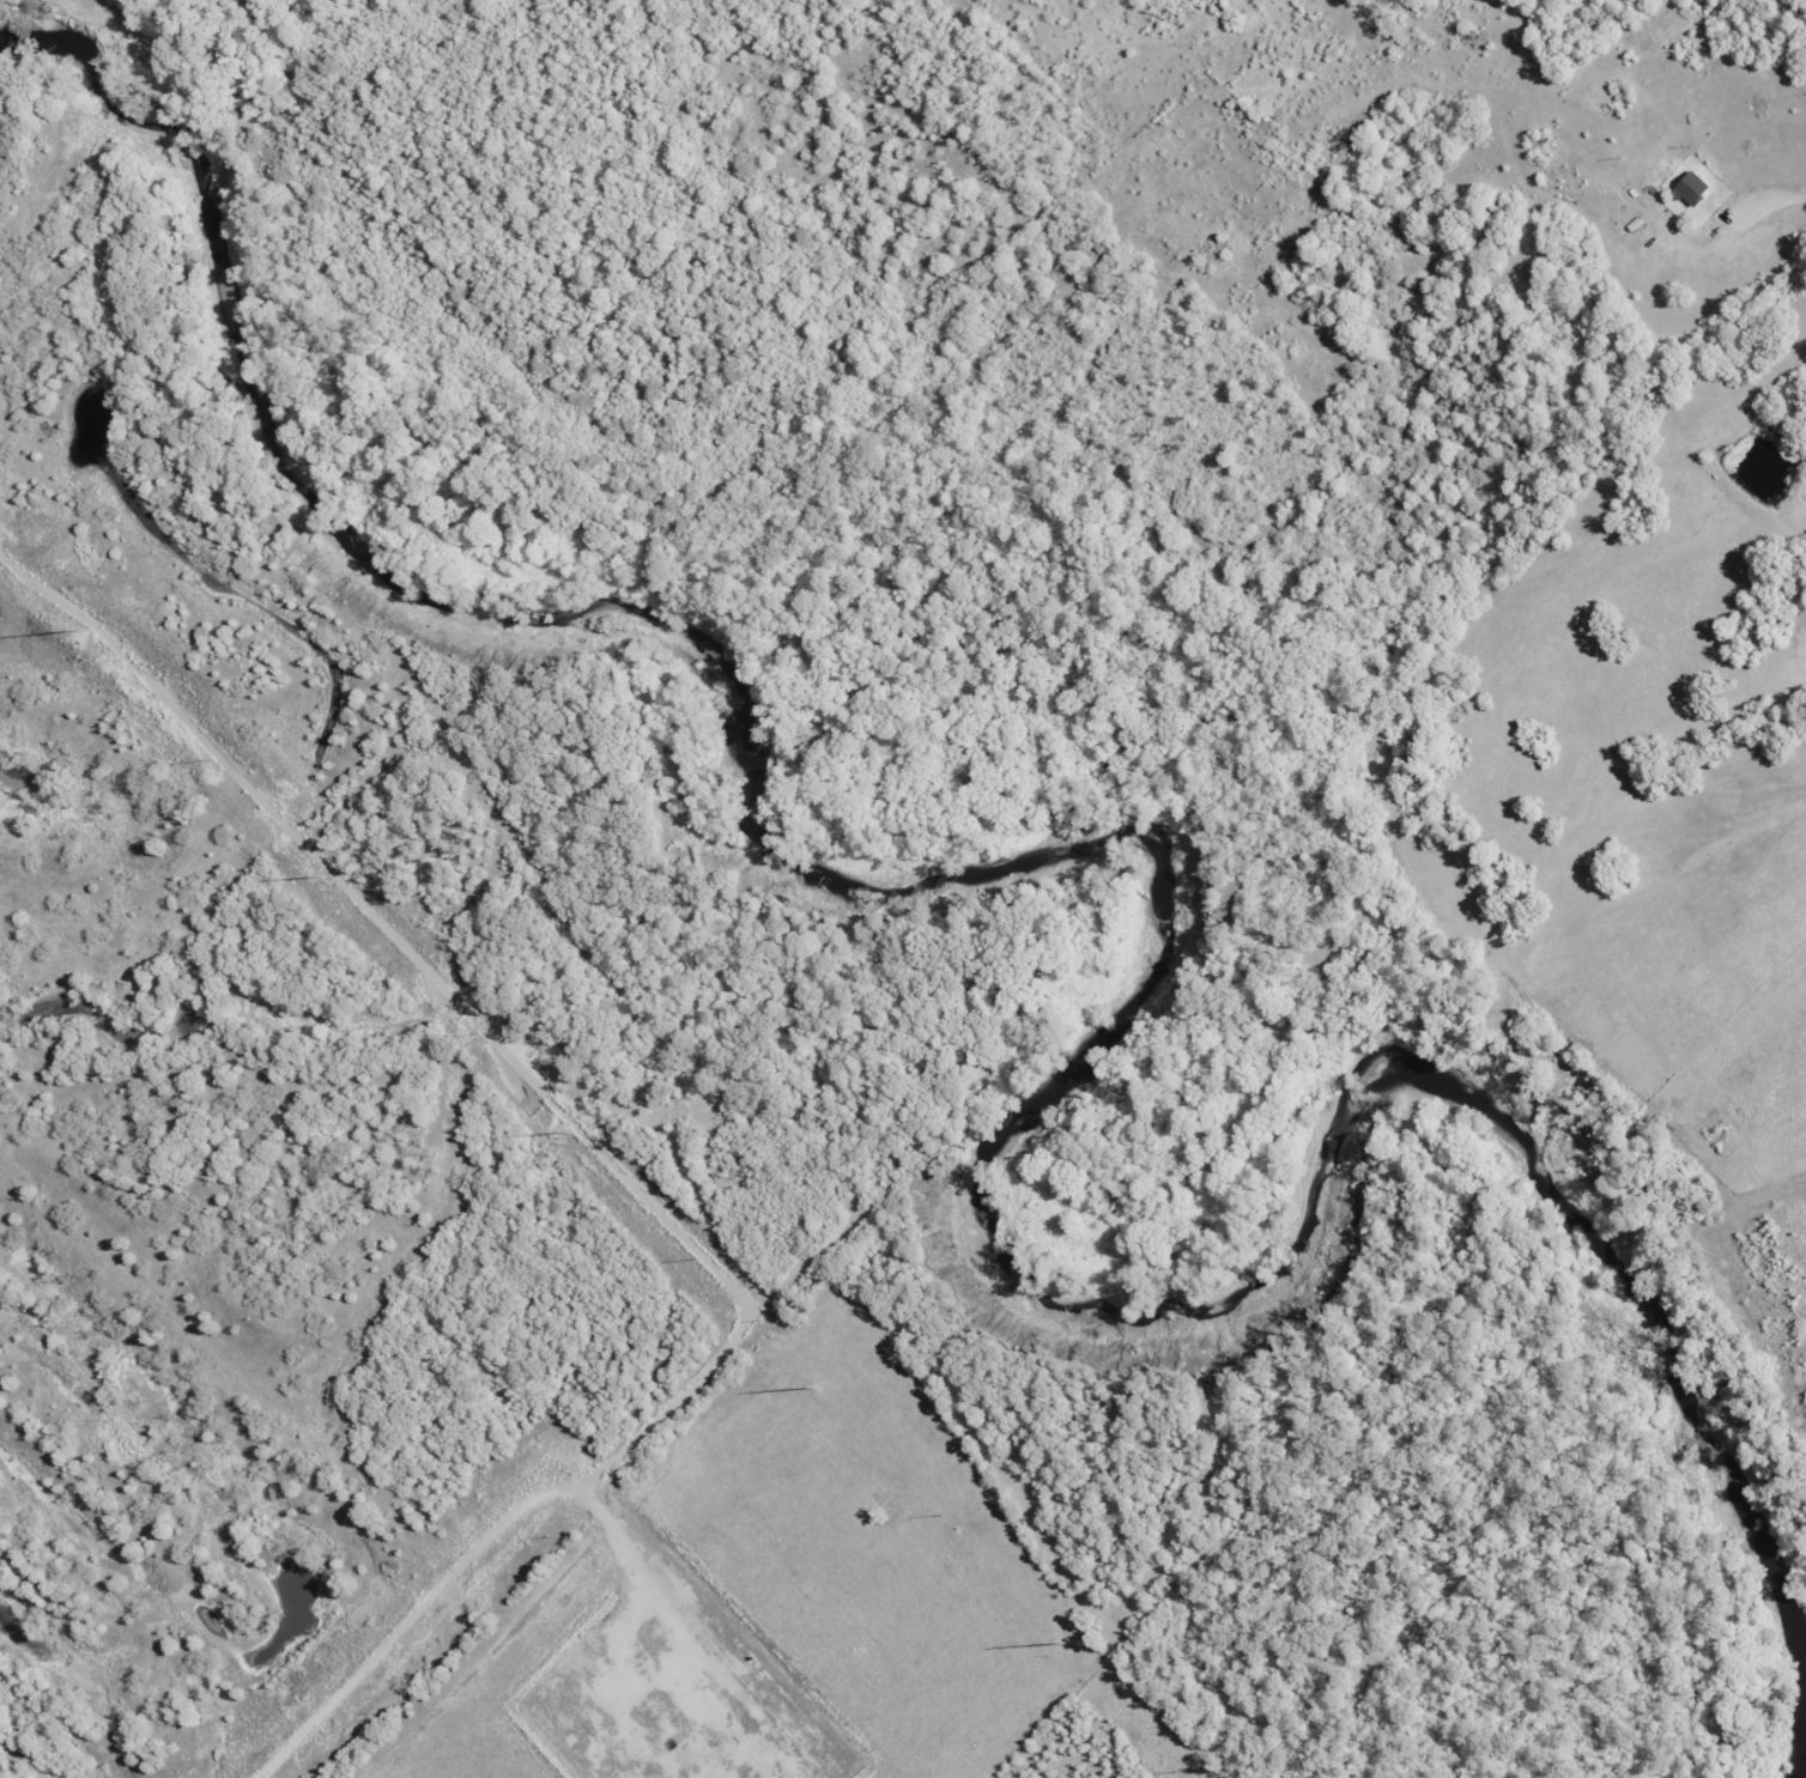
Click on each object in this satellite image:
building: (1692, 188)

